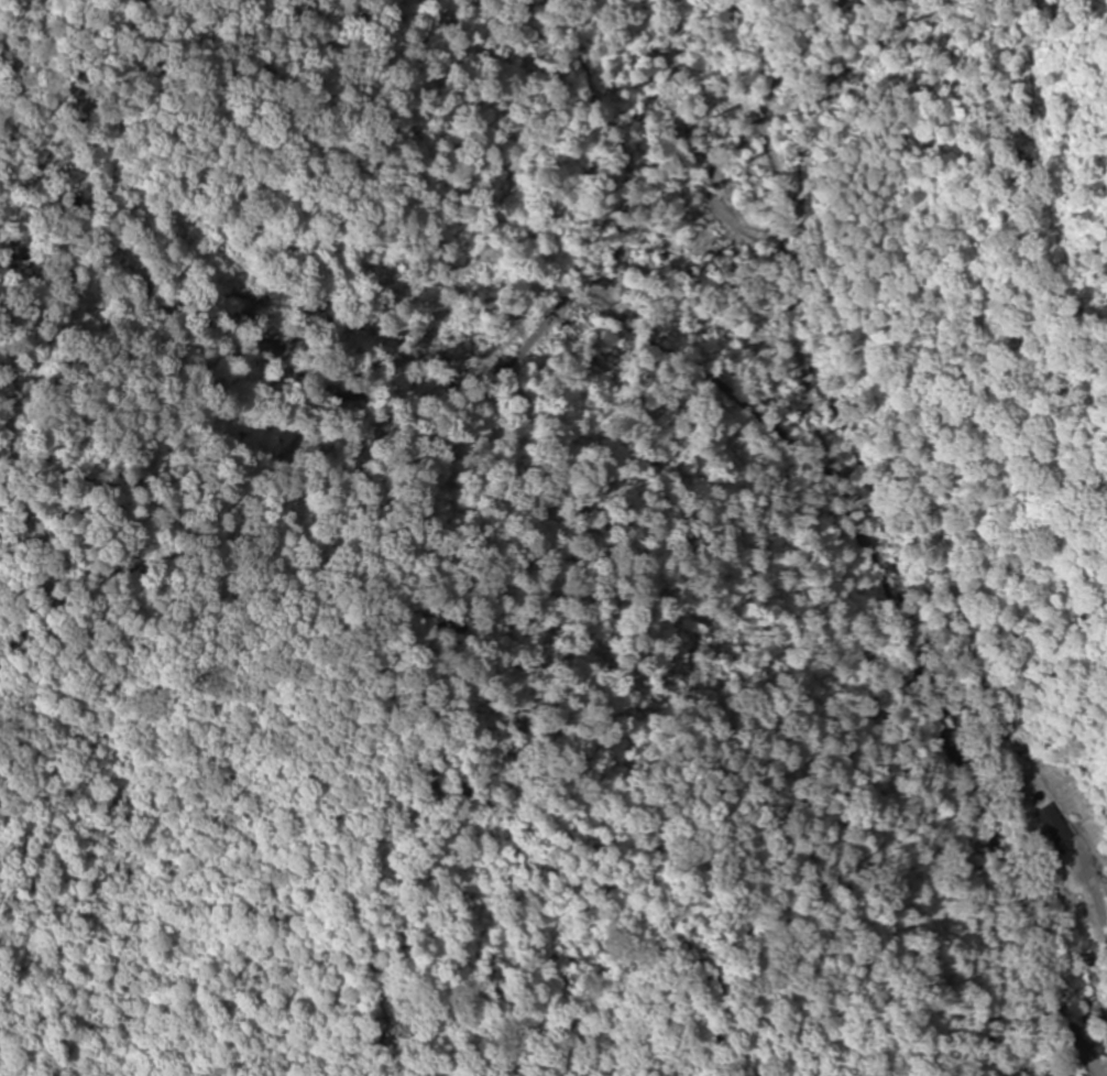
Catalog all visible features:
building: (1006, 728)
building: (1052, 826)
building: (1099, 1007)

